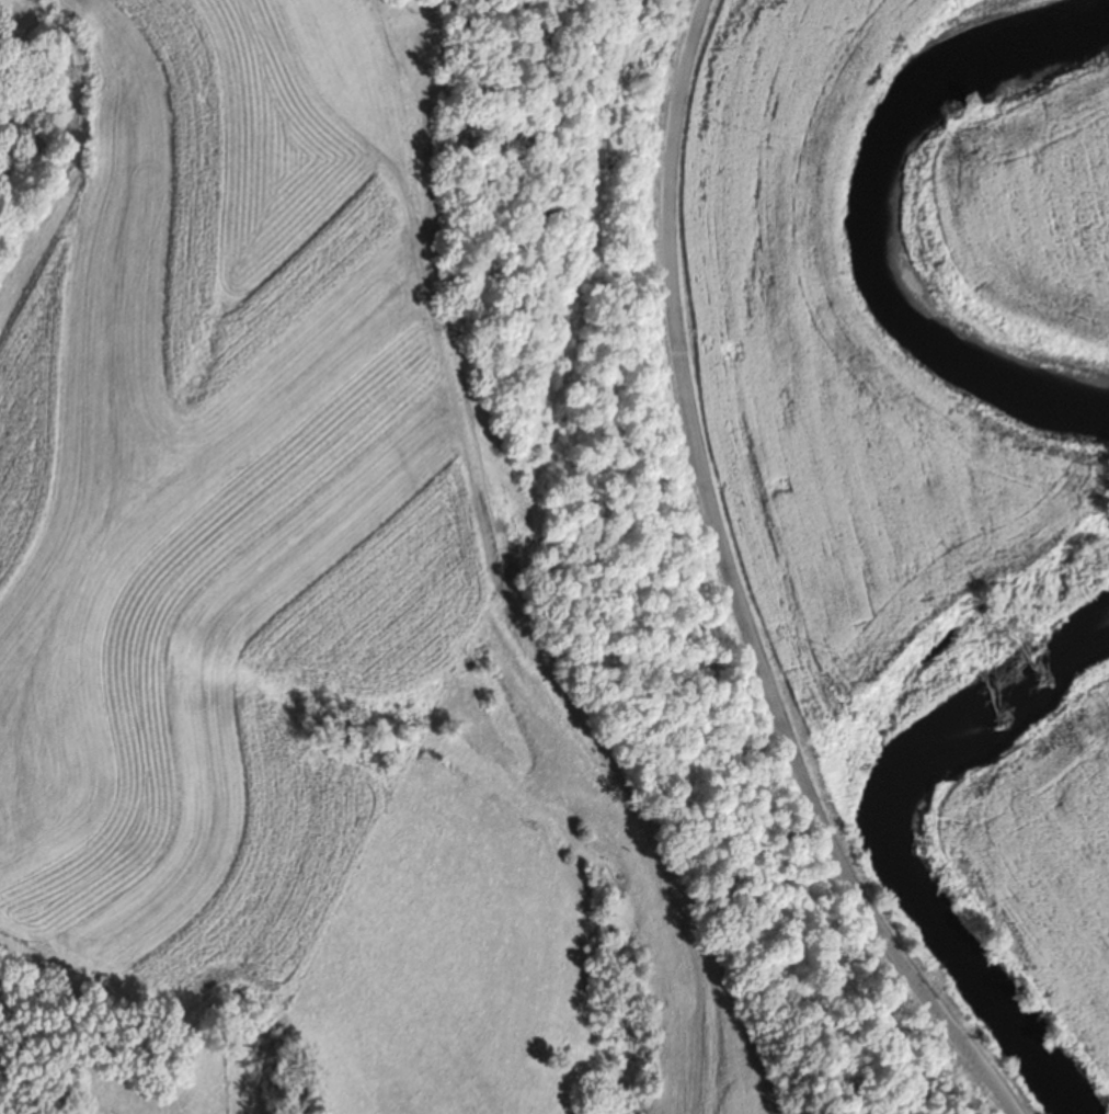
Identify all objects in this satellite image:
river: (912, 182)
road: (671, 596)
river: (885, 838)

